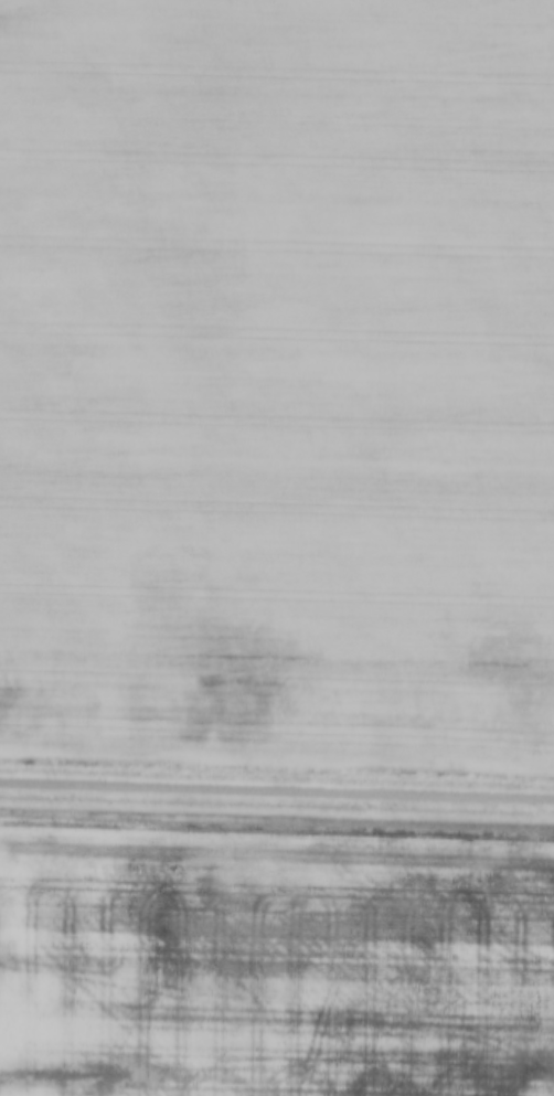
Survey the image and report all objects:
road: (277, 792)

